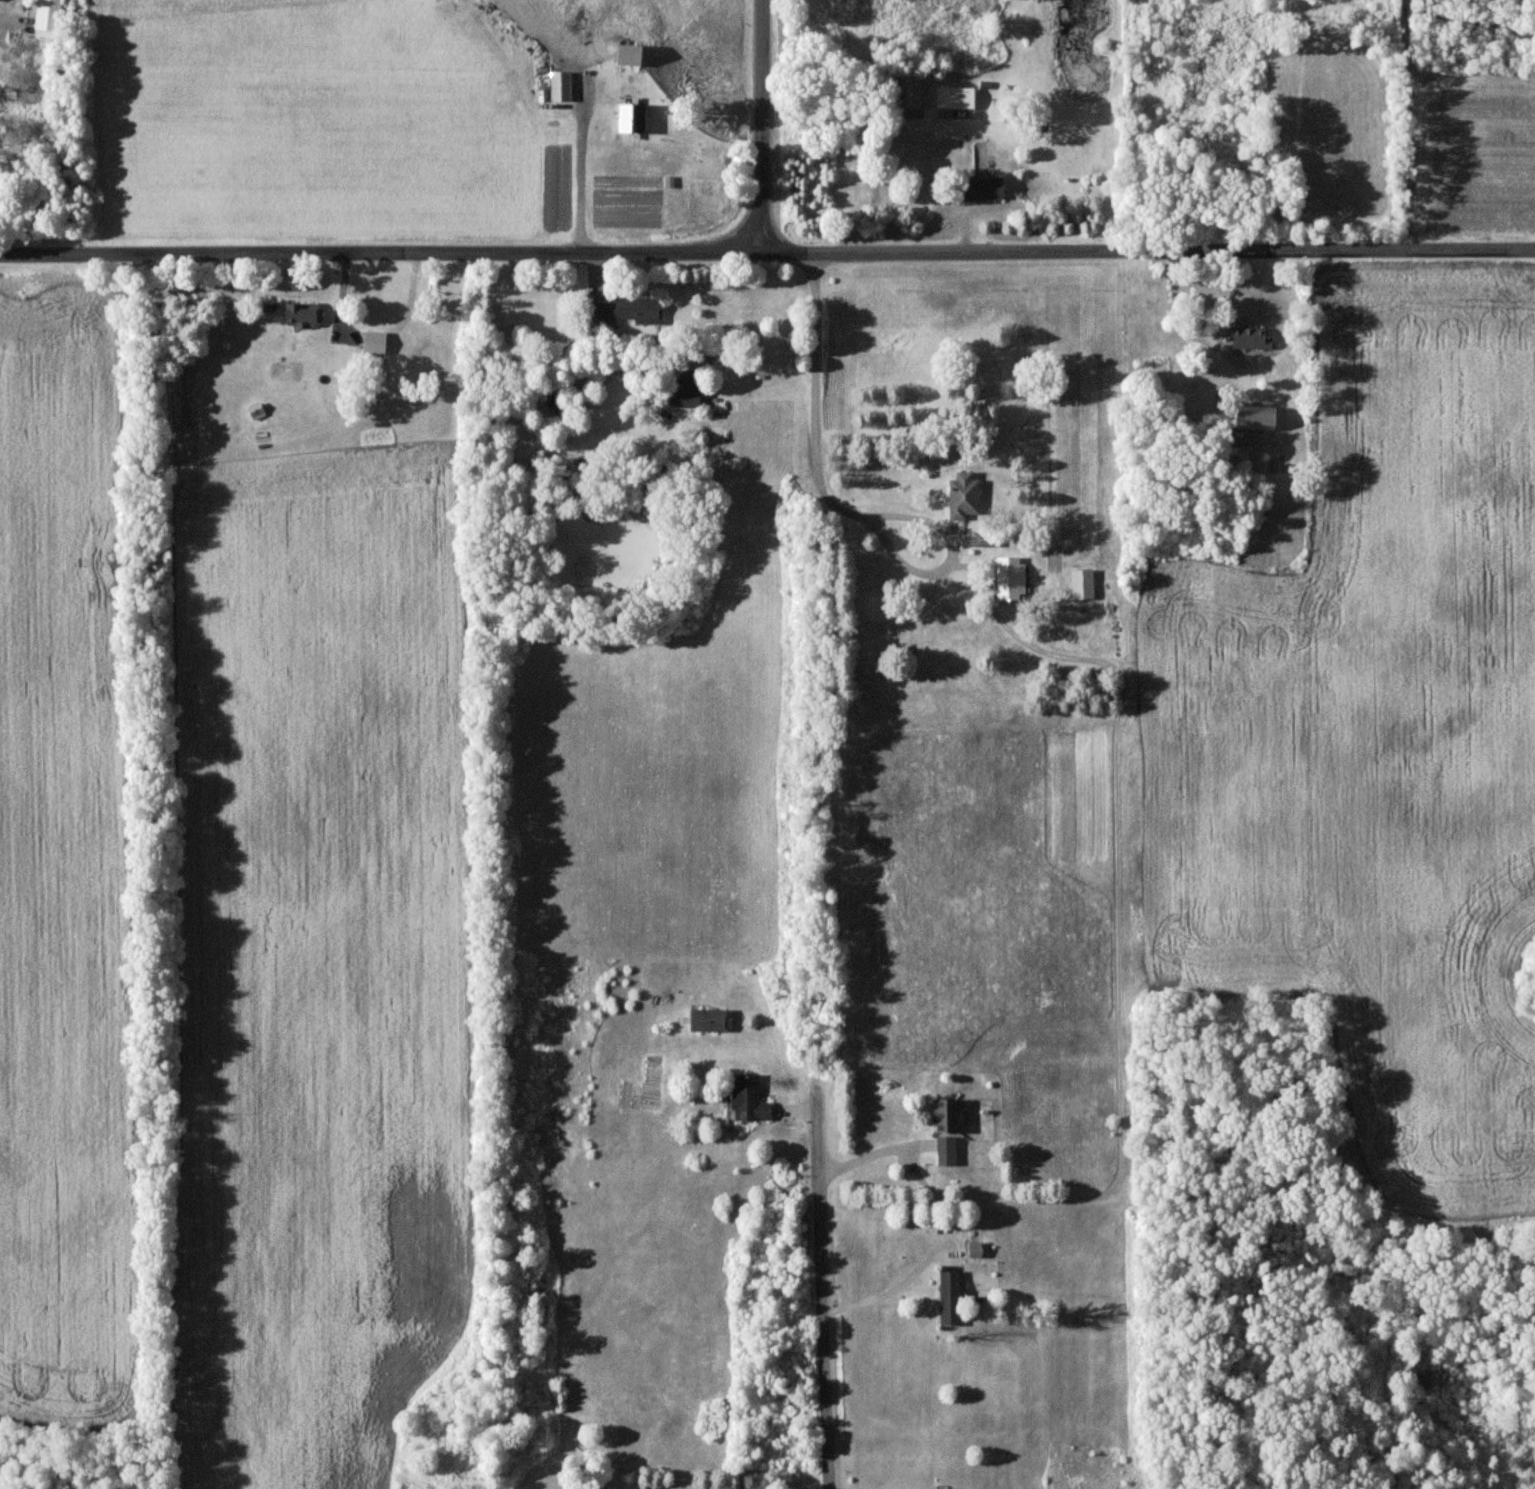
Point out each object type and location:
building: (50, 18)
building: (634, 54)
building: (563, 86)
building: (958, 98)
building: (1001, 113)
building: (635, 117)
road: (760, 125)
road: (588, 173)
building: (987, 188)
road: (1146, 250)
road: (379, 253)
building: (634, 309)
building: (306, 314)
building: (1253, 338)
building: (377, 342)
building: (689, 391)
building: (1263, 418)
road: (819, 436)
building: (967, 495)
building: (987, 539)
road: (927, 574)
building: (1012, 578)
building: (1085, 584)
building: (711, 1020)
building: (752, 1099)
building: (949, 1116)
building: (949, 1151)
road: (873, 1155)
road: (822, 1202)
road: (884, 1296)
building: (953, 1298)

